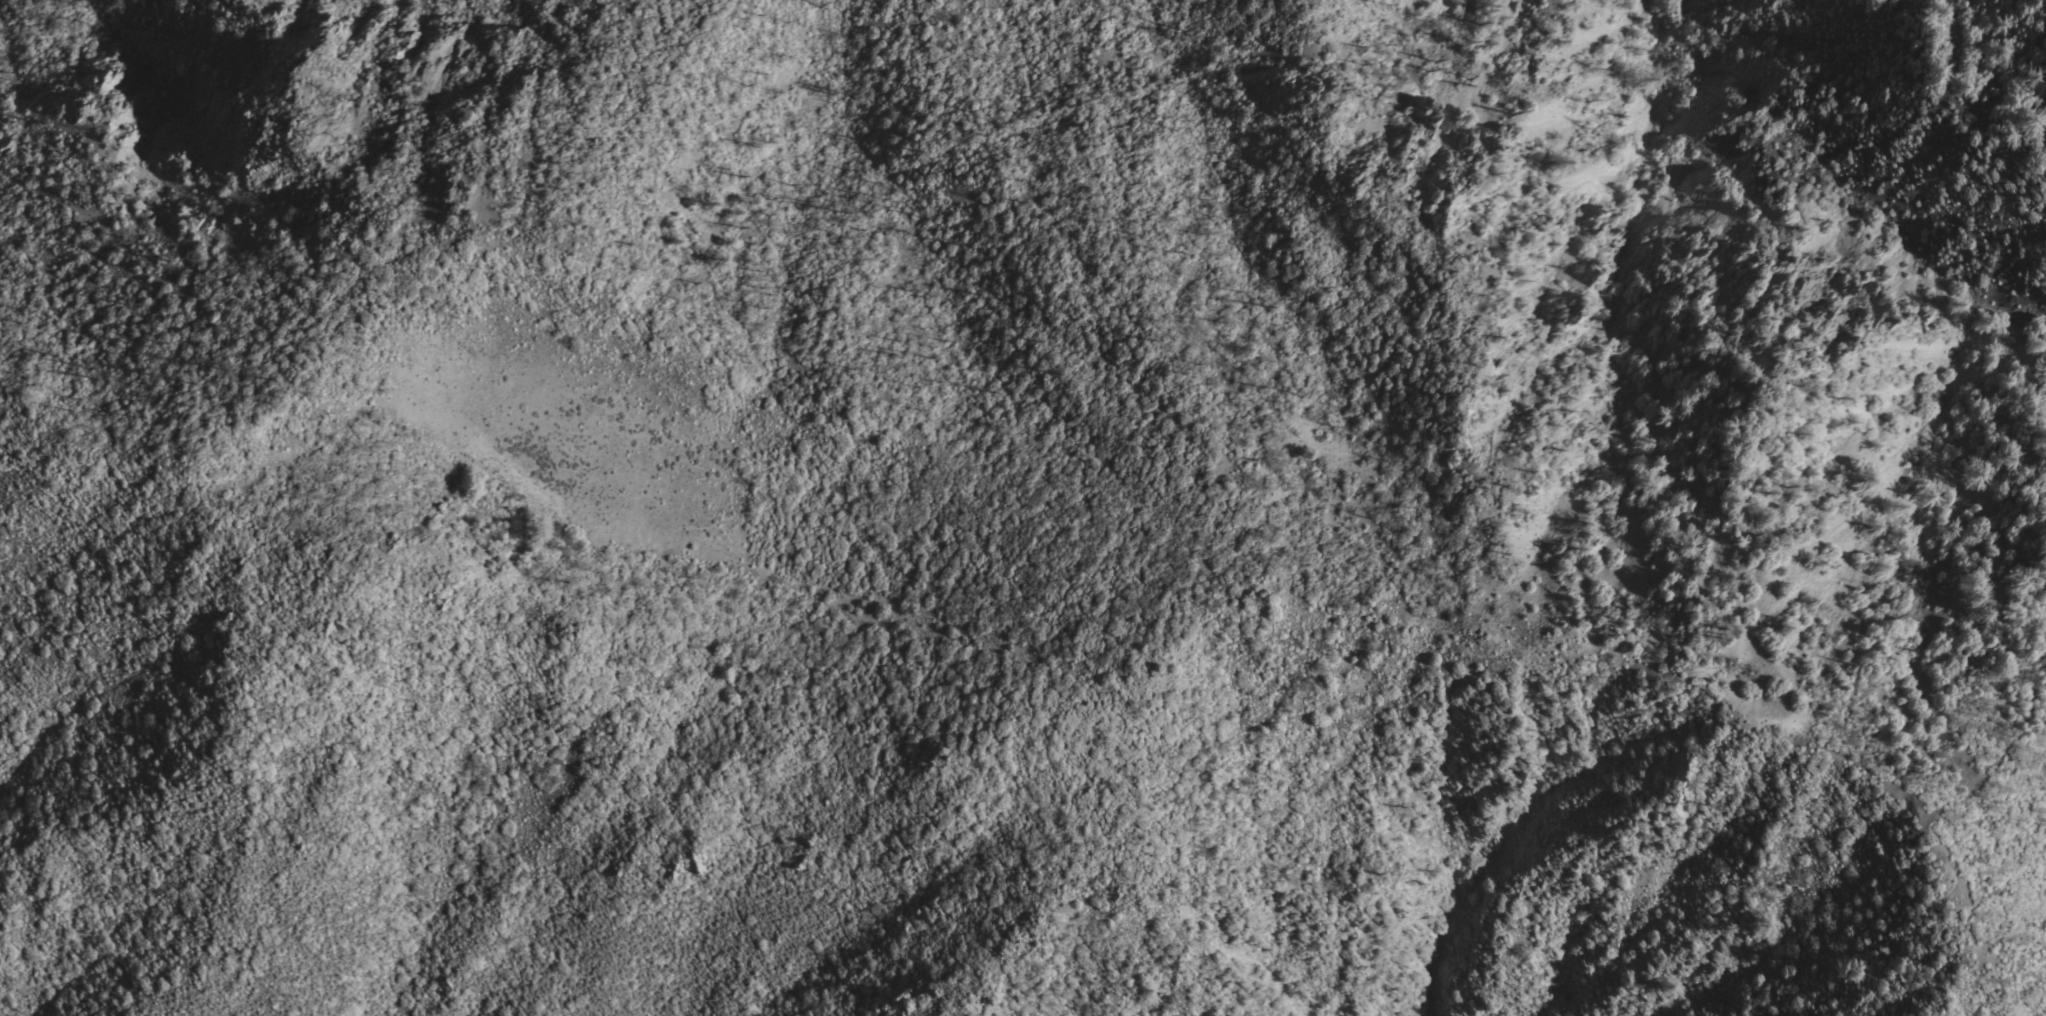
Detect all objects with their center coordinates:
road: (1844, 768)

